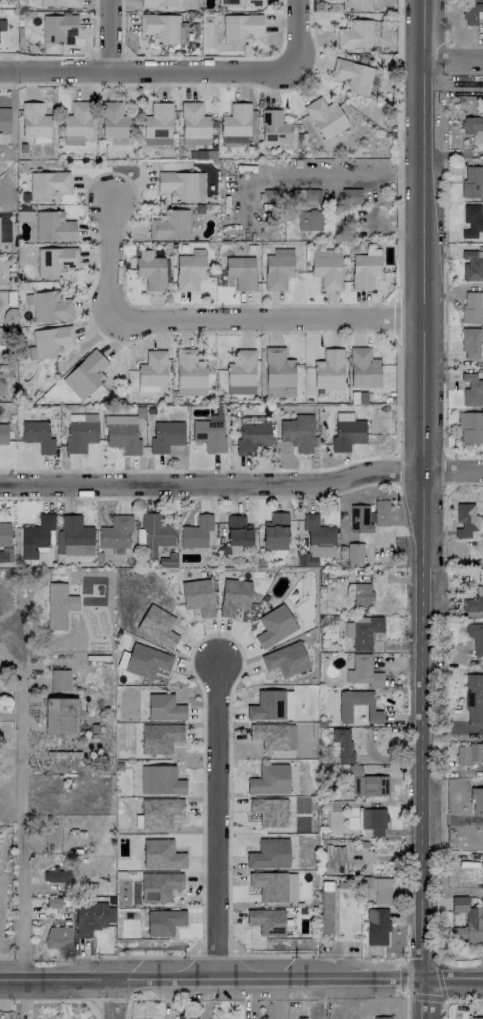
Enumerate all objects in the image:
building: (60, 2)
building: (157, 3)
building: (242, 3)
building: (355, 4)
building: (472, 13)
building: (2, 24)
building: (58, 27)
building: (163, 28)
building: (240, 28)
road: (112, 35)
road: (301, 36)
road: (454, 58)
road: (150, 70)
building: (352, 76)
building: (325, 117)
building: (4, 120)
building: (113, 120)
building: (236, 120)
building: (35, 122)
building: (77, 123)
building: (157, 124)
building: (194, 124)
building: (274, 126)
building: (473, 127)
building: (235, 139)
road: (338, 174)
building: (472, 181)
building: (47, 185)
building: (182, 185)
building: (351, 195)
building: (306, 196)
building: (309, 220)
building: (472, 221)
building: (169, 225)
building: (53, 226)
road: (110, 256)
building: (55, 261)
building: (472, 265)
building: (278, 268)
building: (365, 268)
building: (150, 270)
building: (188, 271)
building: (241, 271)
building: (327, 271)
building: (50, 306)
building: (471, 306)
road: (267, 318)
building: (51, 341)
building: (471, 343)
building: (277, 367)
building: (363, 367)
building: (329, 369)
building: (152, 371)
building: (87, 372)
building: (241, 372)
building: (189, 373)
building: (72, 387)
building: (471, 389)
building: (279, 391)
building: (470, 427)
building: (80, 431)
building: (122, 432)
building: (209, 432)
building: (298, 432)
building: (3, 433)
building: (347, 434)
building: (38, 435)
building: (166, 435)
building: (252, 436)
road: (242, 483)
road: (422, 509)
building: (368, 515)
building: (465, 519)
building: (238, 530)
building: (317, 530)
building: (196, 531)
building: (275, 531)
building: (116, 532)
building: (4, 533)
building: (155, 533)
building: (73, 536)
building: (5, 553)
building: (354, 553)
building: (362, 594)
building: (198, 596)
building: (234, 596)
building: (473, 602)
building: (58, 605)
building: (157, 625)
building: (274, 625)
building: (362, 631)
building: (286, 659)
building: (146, 660)
building: (363, 671)
building: (60, 679)
building: (474, 697)
building: (271, 705)
building: (164, 707)
building: (345, 707)
building: (60, 714)
road: (476, 728)
road: (445, 729)
building: (273, 735)
building: (160, 737)
building: (343, 743)
building: (468, 753)
building: (269, 779)
building: (160, 780)
building: (367, 782)
road: (17, 791)
building: (476, 800)
building: (159, 811)
building: (270, 811)
building: (373, 820)
road: (215, 823)
building: (161, 854)
building: (269, 854)
building: (57, 875)
building: (275, 885)
building: (159, 886)
building: (376, 889)
building: (326, 907)
building: (90, 917)
building: (164, 921)
building: (266, 921)
building: (467, 921)
building: (377, 926)
building: (58, 936)
road: (210, 980)
road: (452, 980)
road: (429, 997)
road: (319, 999)
road: (118, 1000)
road: (464, 1001)
road: (405, 1007)
building: (187, 1016)
building: (381, 1017)
building: (298, 1018)
building: (475, 1018)

